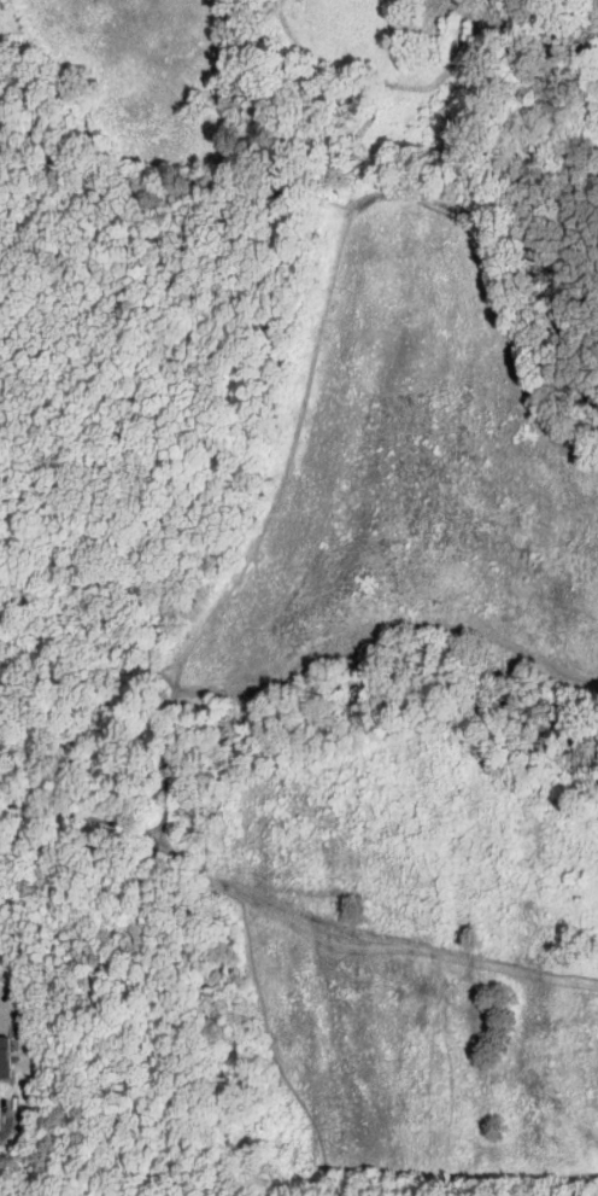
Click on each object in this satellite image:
building: (5, 1056)

